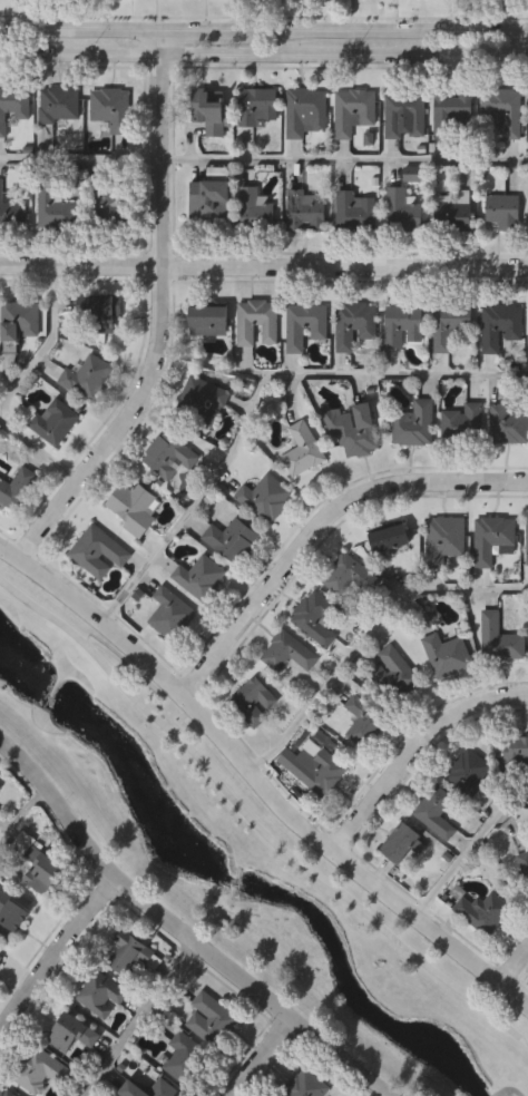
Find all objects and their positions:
road: (263, 31)
road: (229, 53)
road: (495, 53)
building: (60, 105)
building: (12, 107)
building: (111, 109)
building: (256, 110)
building: (304, 112)
building: (353, 112)
building: (503, 112)
building: (207, 116)
building: (404, 116)
building: (452, 116)
road: (263, 160)
building: (209, 205)
building: (110, 207)
building: (53, 208)
building: (10, 212)
building: (256, 213)
building: (354, 213)
building: (401, 213)
building: (304, 214)
building: (502, 214)
building: (451, 218)
road: (264, 265)
building: (104, 314)
road: (160, 316)
building: (19, 322)
building: (207, 322)
building: (257, 324)
building: (353, 325)
building: (449, 325)
building: (304, 326)
building: (500, 326)
building: (402, 327)
road: (48, 343)
building: (87, 379)
road: (258, 391)
building: (203, 402)
building: (55, 422)
building: (414, 425)
building: (462, 425)
building: (509, 425)
building: (354, 431)
road: (37, 449)
building: (303, 451)
building: (168, 458)
building: (17, 490)
building: (265, 499)
building: (133, 507)
road: (320, 522)
building: (389, 540)
building: (444, 540)
building: (231, 541)
building: (493, 541)
building: (527, 542)
building: (98, 554)
building: (199, 578)
building: (346, 579)
building: (170, 616)
building: (315, 619)
road: (368, 635)
building: (500, 640)
building: (287, 654)
building: (447, 657)
building: (393, 675)
building: (253, 703)
building: (362, 722)
road: (413, 747)
building: (517, 755)
building: (467, 772)
building: (320, 774)
road: (257, 781)
building: (0, 786)
building: (434, 811)
road: (21, 814)
road: (255, 821)
building: (401, 845)
road: (468, 853)
building: (524, 864)
building: (38, 865)
building: (482, 912)
building: (10, 919)
road: (180, 931)
road: (56, 953)
building: (130, 956)
building: (1, 959)
road: (514, 961)
building: (99, 996)
road: (140, 1019)
building: (211, 1020)
building: (71, 1036)
road: (260, 1057)
building: (184, 1058)
building: (39, 1071)
building: (305, 1085)
building: (162, 1088)
building: (6, 1093)

